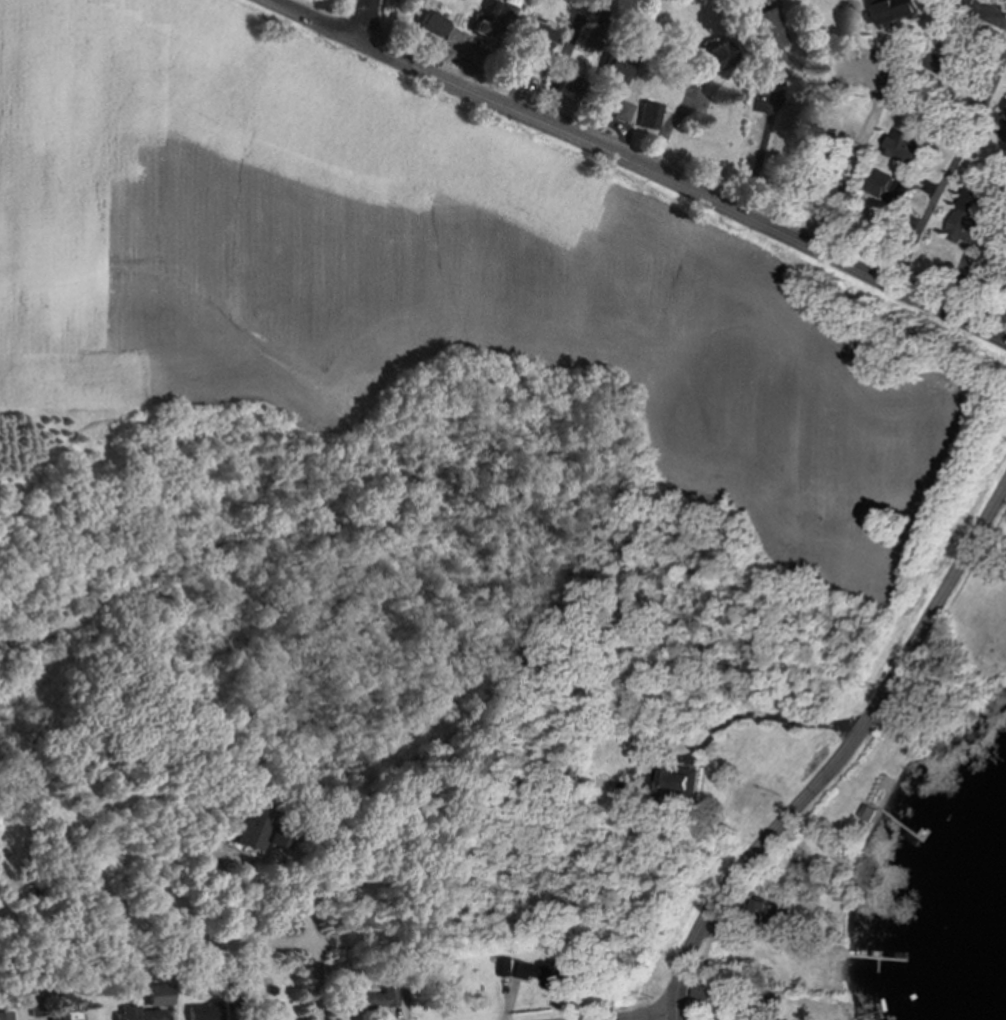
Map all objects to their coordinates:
building: (901, 10)
road: (313, 20)
road: (364, 20)
building: (495, 22)
building: (434, 24)
building: (597, 28)
building: (538, 36)
building: (766, 36)
building: (719, 56)
building: (937, 63)
building: (617, 68)
road: (562, 72)
road: (895, 81)
building: (565, 94)
building: (1003, 109)
building: (622, 111)
building: (649, 116)
road: (668, 122)
road: (760, 147)
building: (904, 147)
road: (950, 173)
building: (888, 188)
road: (682, 190)
building: (967, 218)
road: (771, 717)
road: (842, 758)
building: (680, 779)
building: (867, 813)
building: (254, 823)
building: (280, 839)
building: (764, 911)
road: (314, 940)
building: (504, 967)
building: (539, 972)
building: (704, 991)
building: (161, 995)
building: (373, 999)
building: (208, 1011)
building: (141, 1014)
building: (6, 1016)
building: (68, 1016)
road: (648, 1016)

